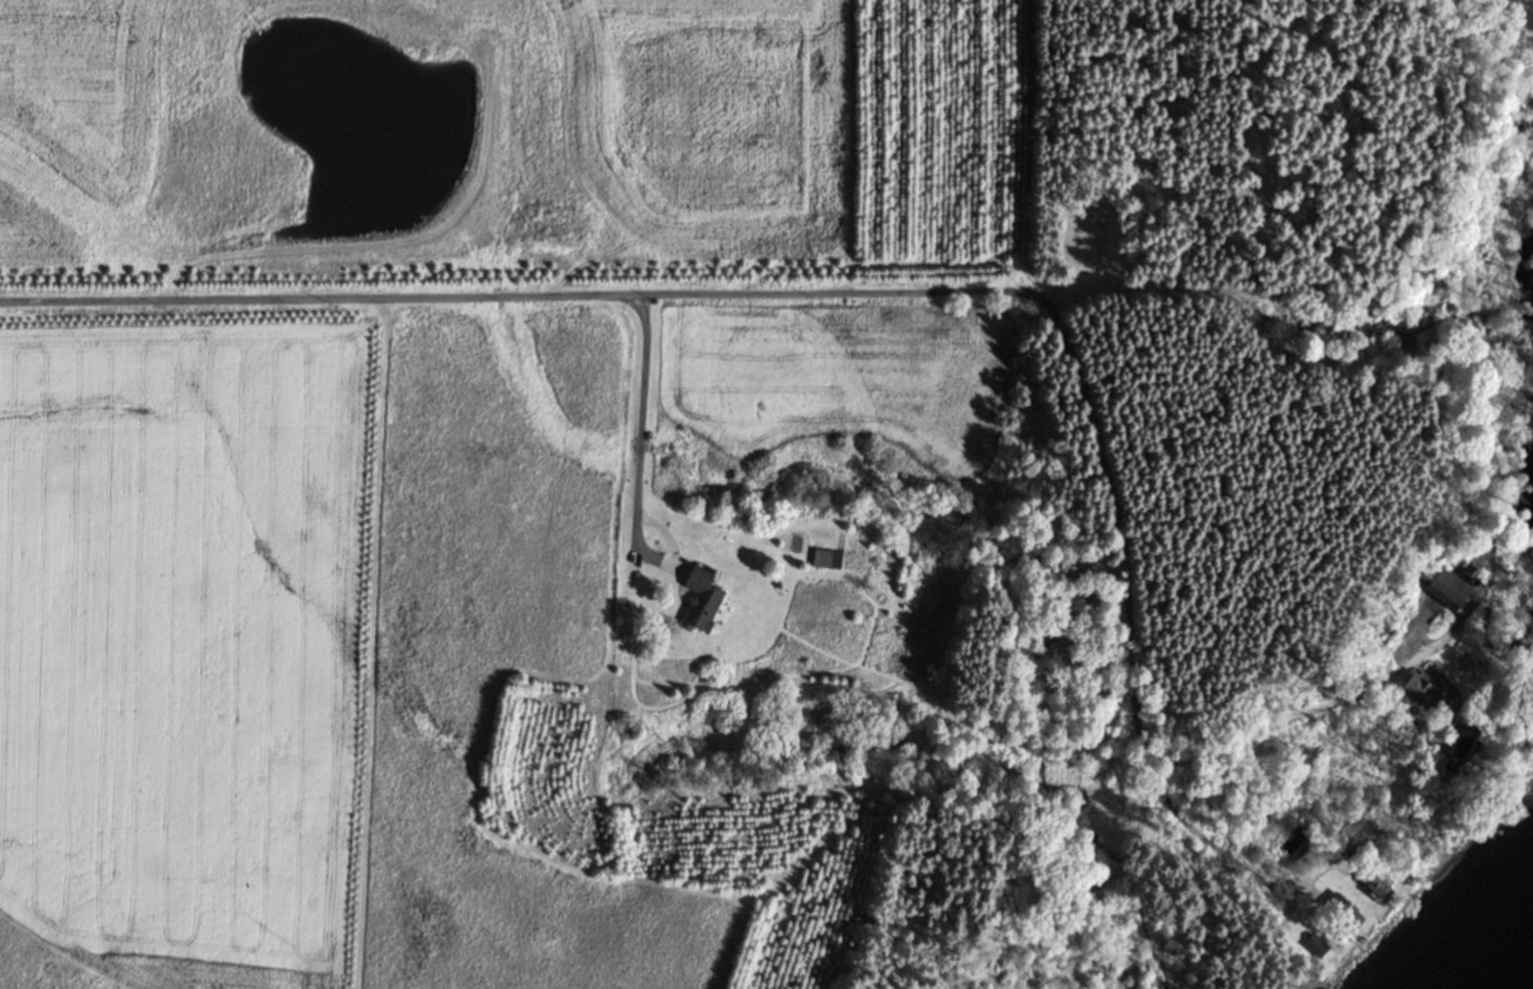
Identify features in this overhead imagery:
building: (1522, 10)
road: (1507, 19)
road: (511, 296)
road: (1373, 297)
road: (638, 414)
building: (824, 559)
building: (1458, 591)
building: (703, 600)
building: (1426, 691)
building: (1380, 886)
building: (1344, 914)

